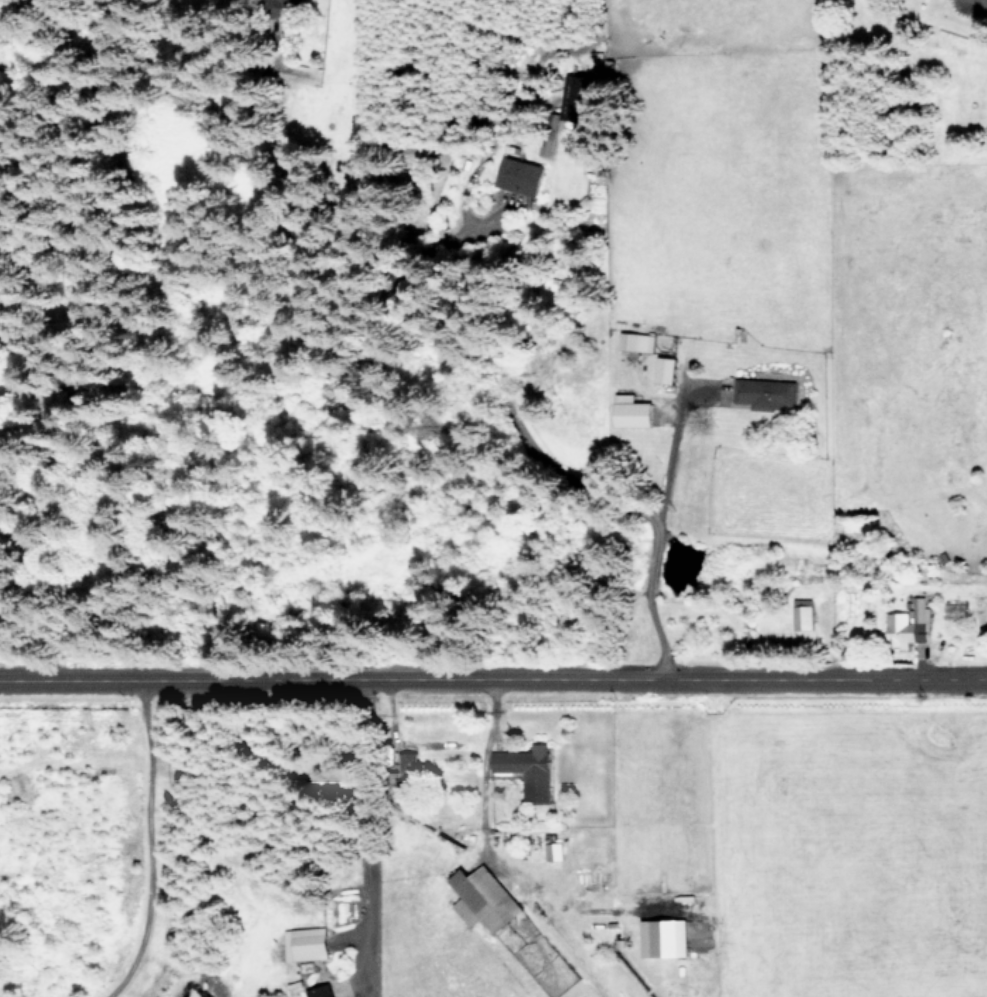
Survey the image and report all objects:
road: (984, 0)
building: (571, 96)
building: (546, 146)
building: (518, 175)
building: (635, 341)
building: (664, 369)
building: (764, 392)
building: (630, 410)
road: (668, 466)
road: (638, 505)
building: (801, 616)
building: (907, 623)
road: (969, 674)
road: (475, 678)
building: (402, 761)
building: (526, 770)
road: (484, 794)
road: (367, 837)
road: (143, 845)
building: (551, 851)
building: (482, 898)
building: (662, 938)
building: (304, 943)
building: (318, 991)

